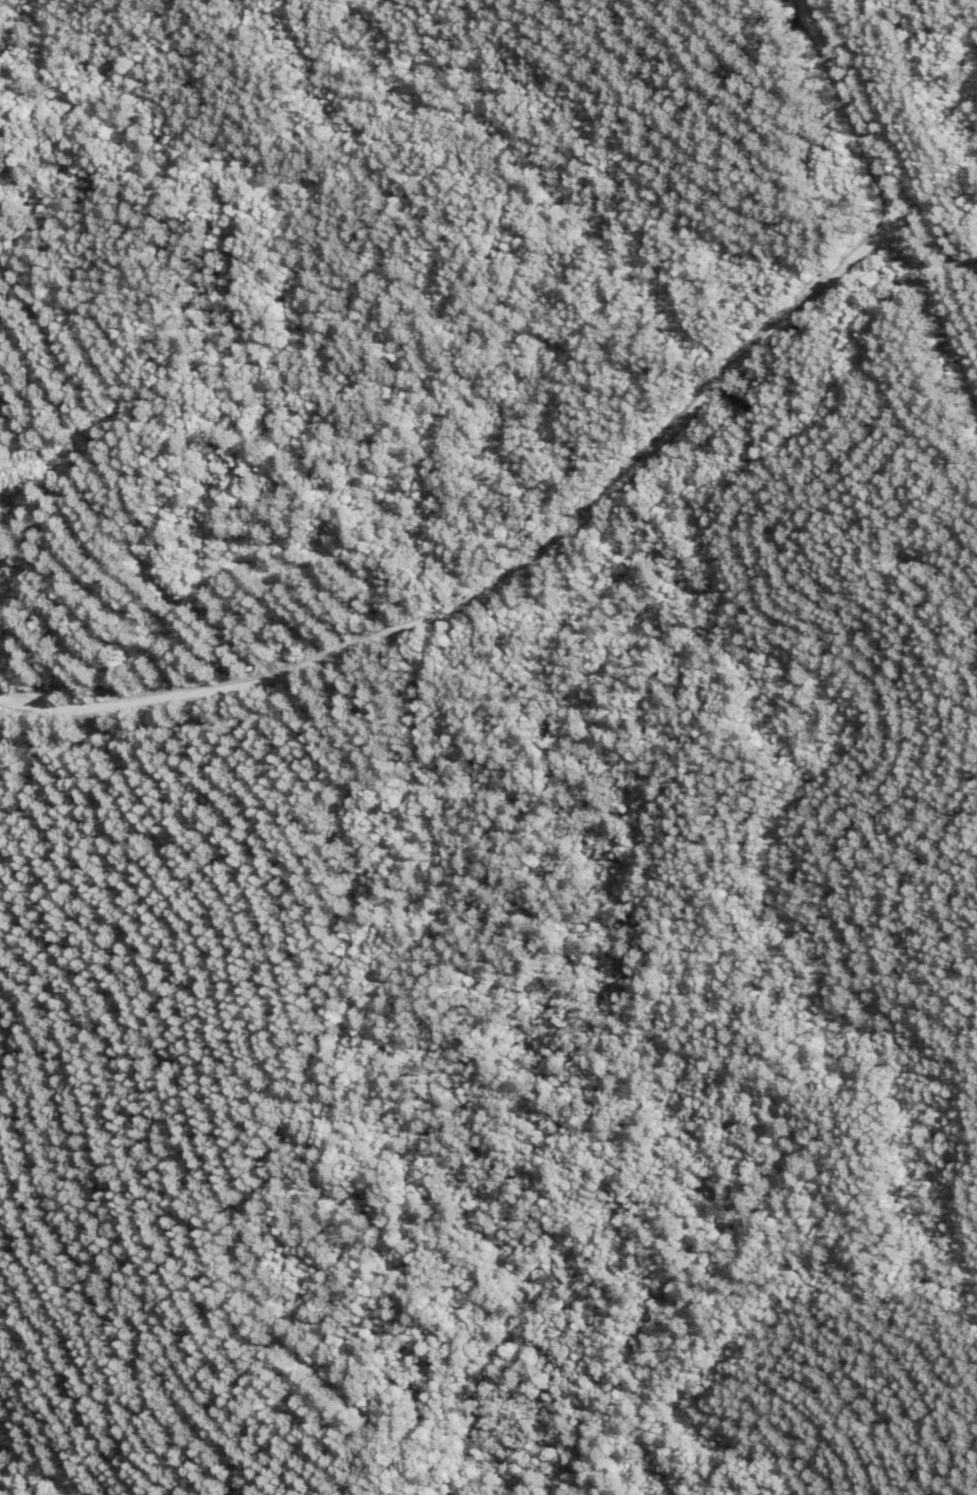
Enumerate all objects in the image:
road: (883, 182)
road: (510, 586)

